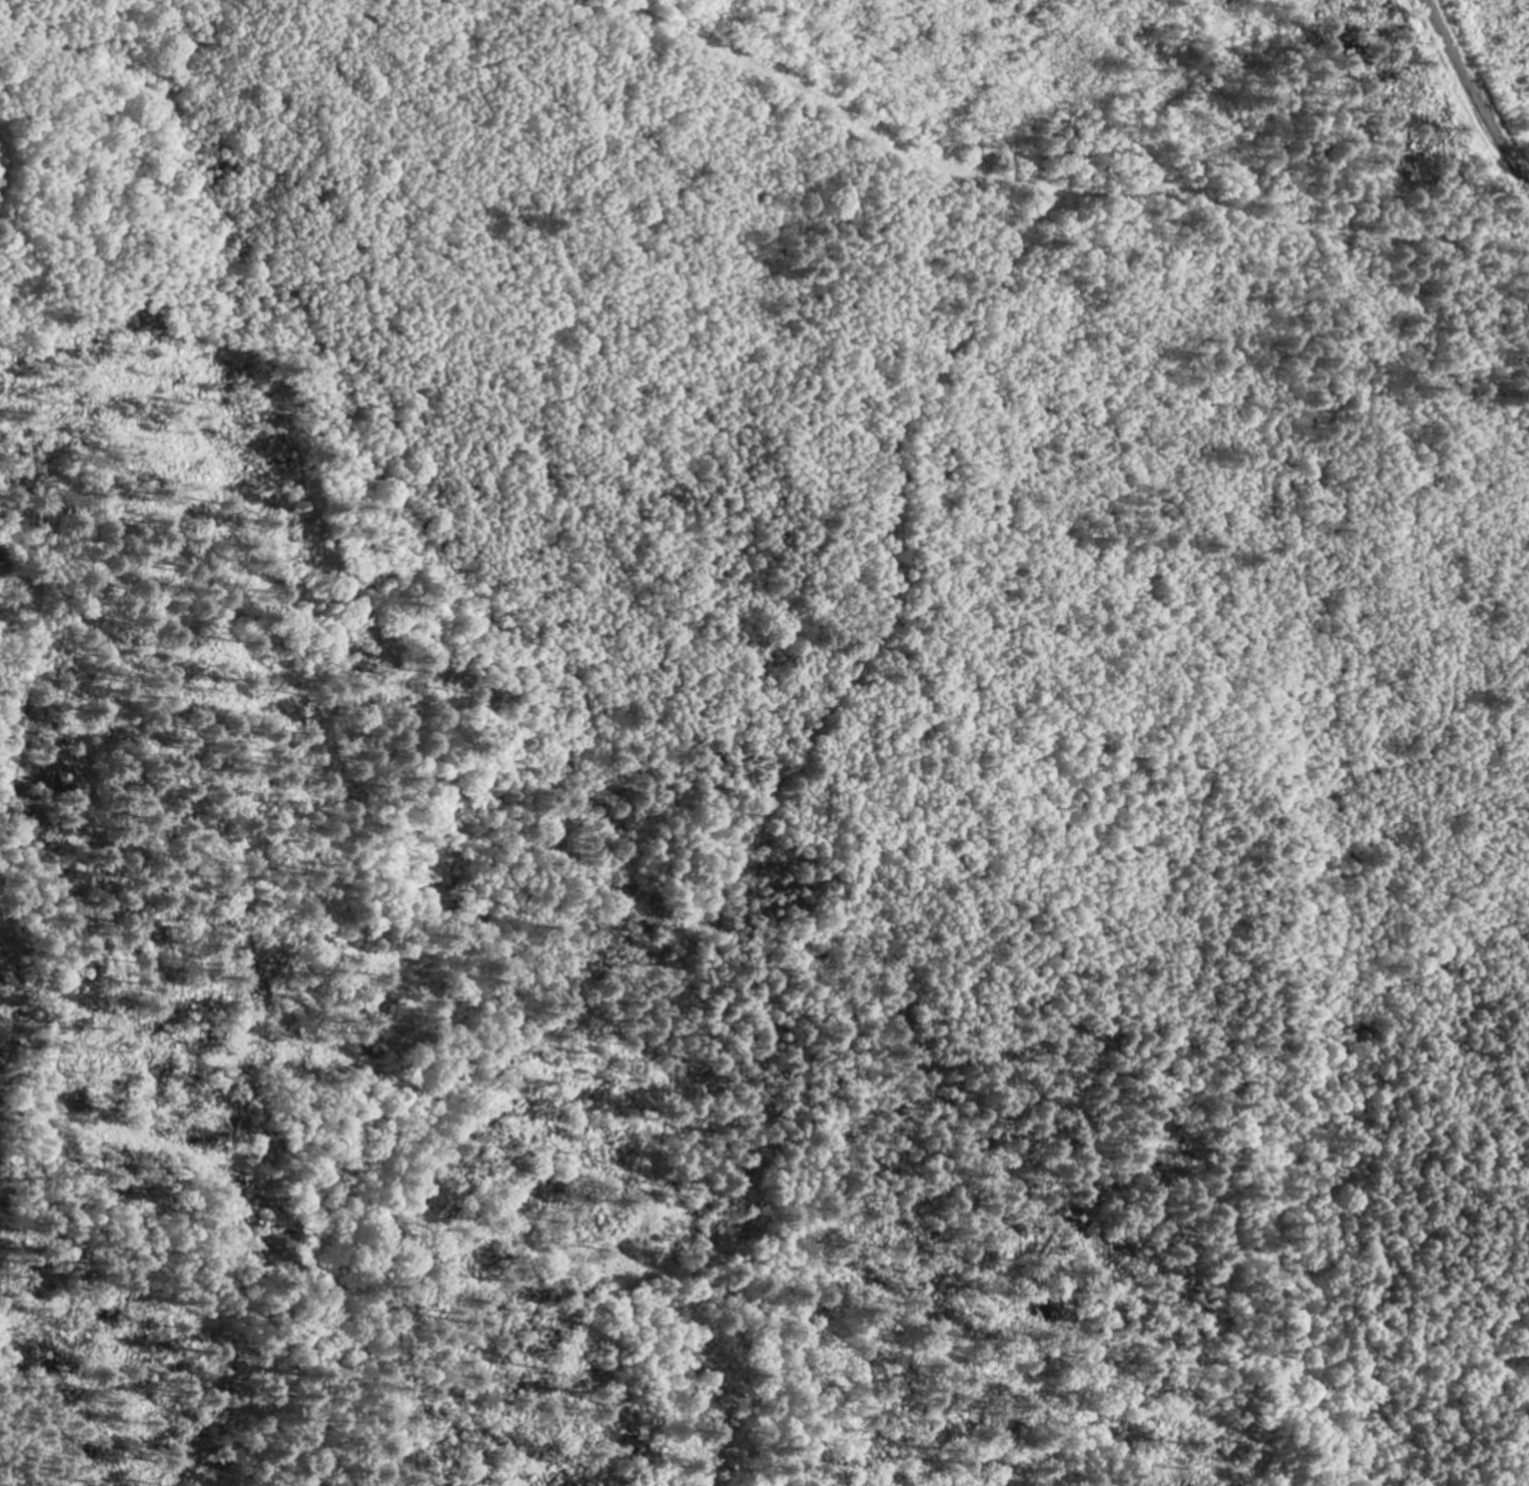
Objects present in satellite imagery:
road: (1452, 57)
road: (1505, 151)

